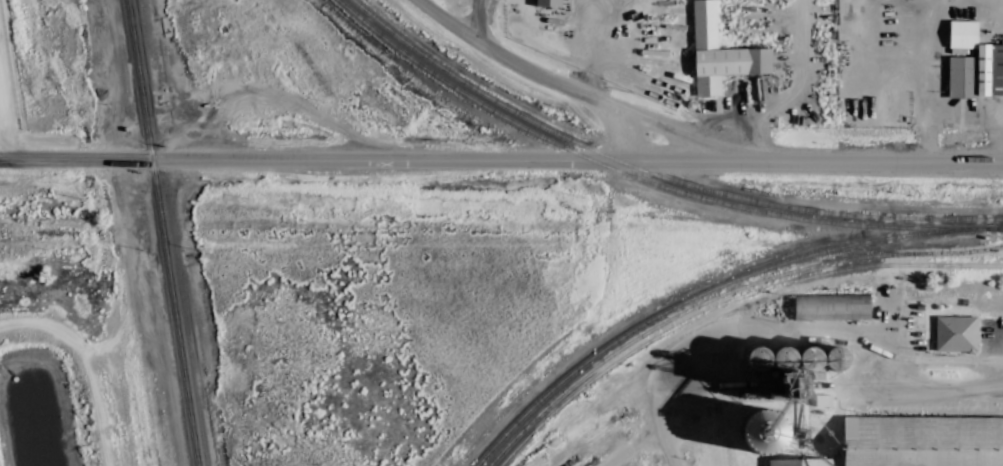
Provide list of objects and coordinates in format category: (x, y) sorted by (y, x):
building: (549, 3)
road: (477, 19)
building: (721, 53)
building: (974, 63)
road: (589, 93)
railway: (565, 148)
road: (501, 160)
railway: (655, 173)
railway: (897, 225)
railway: (984, 225)
railway: (161, 232)
railway: (696, 295)
railway: (719, 295)
railway: (726, 301)
building: (833, 305)
building: (953, 320)
building: (825, 399)
railway: (753, 407)
building: (774, 419)
building: (801, 462)

